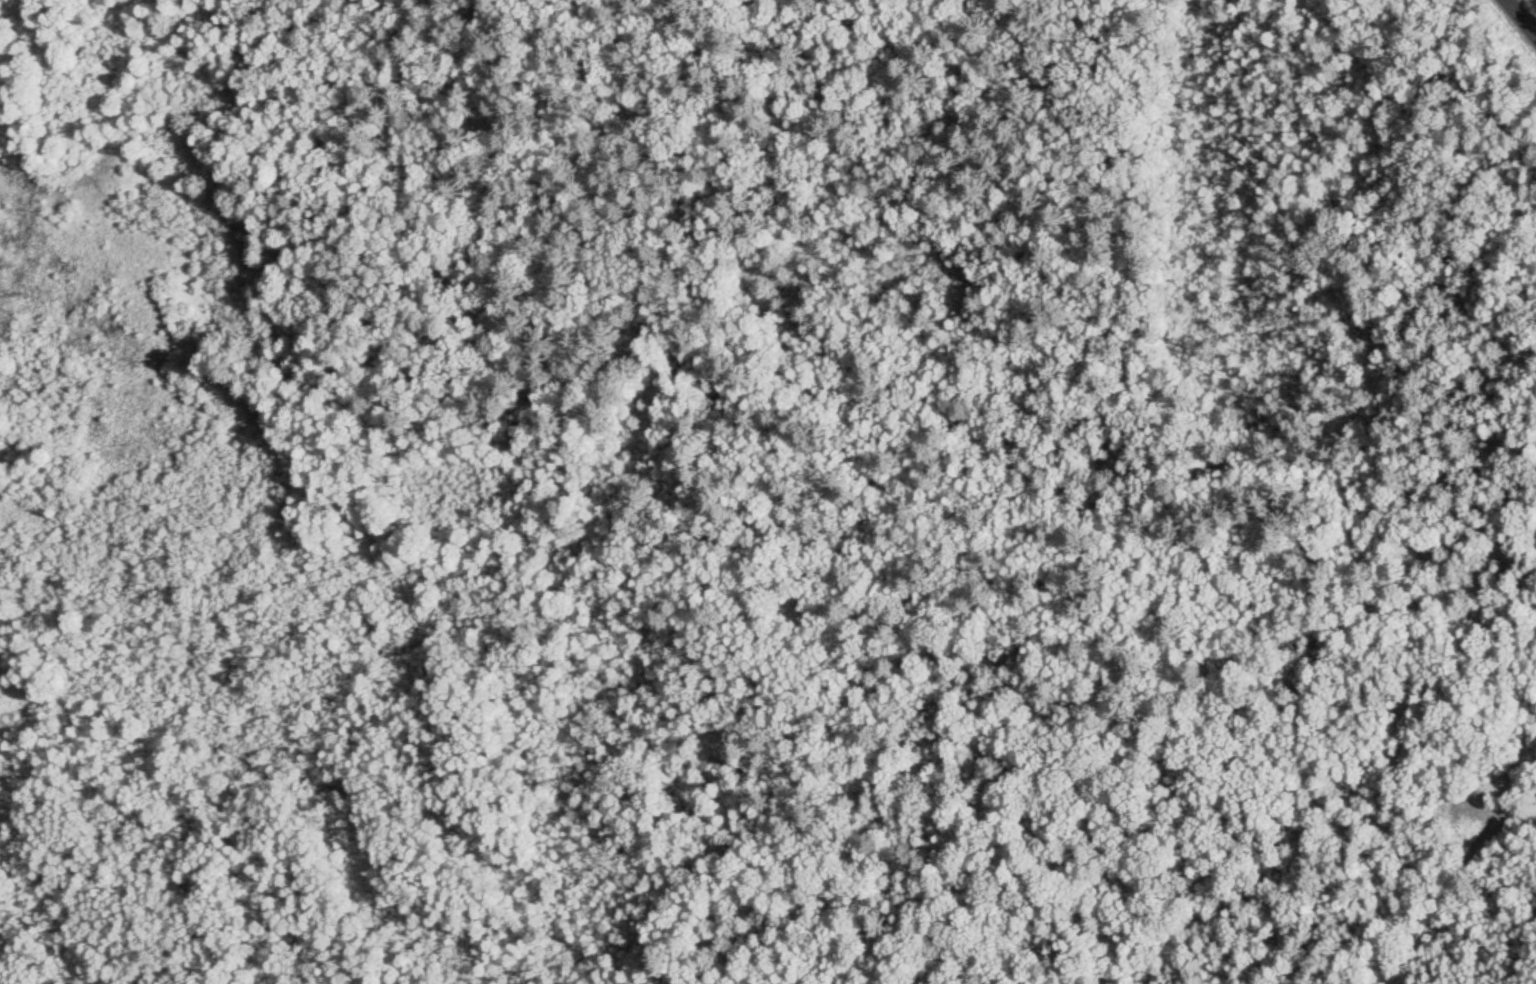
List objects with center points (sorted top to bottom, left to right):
road: (1522, 17)

